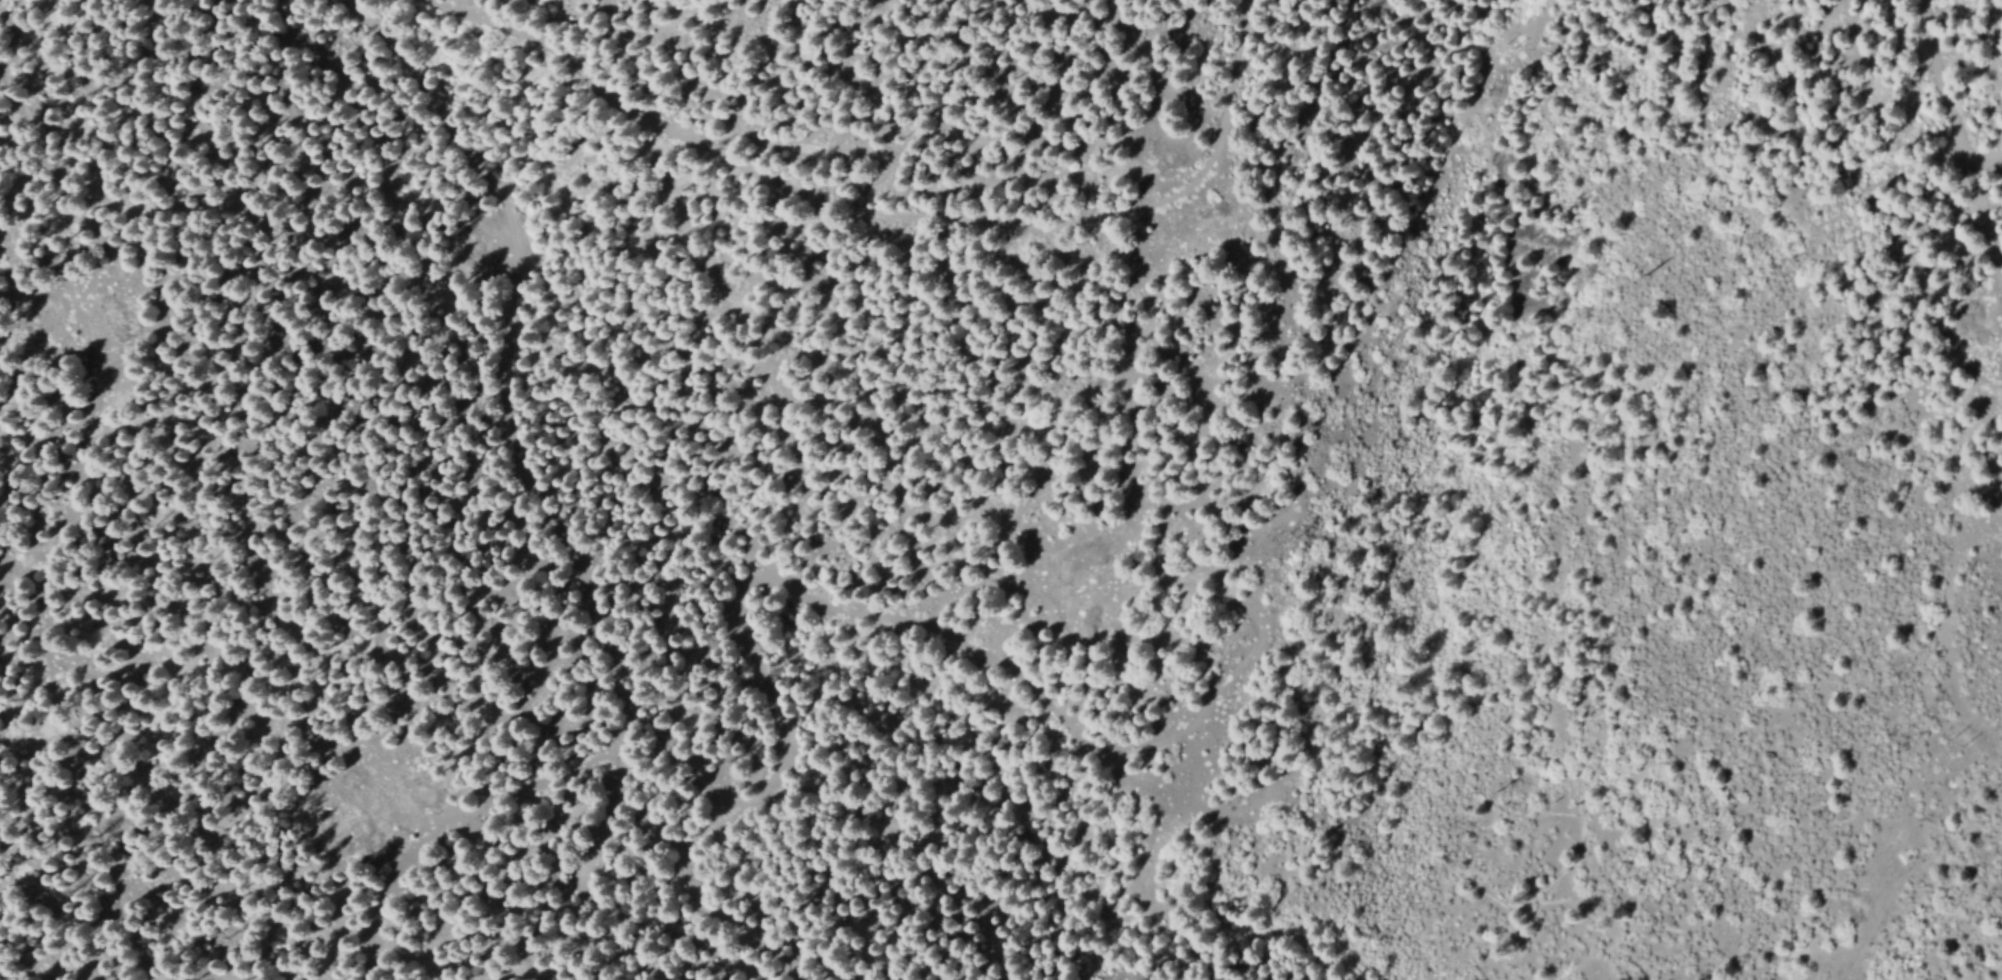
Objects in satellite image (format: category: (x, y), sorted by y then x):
power tower: (1959, 738)

